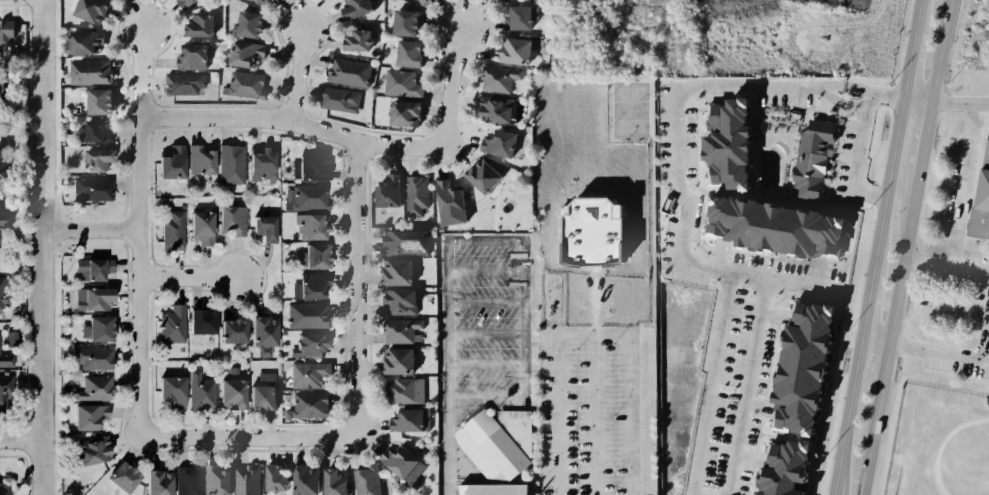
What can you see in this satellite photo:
building: (416, 0)
building: (493, 0)
building: (260, 2)
building: (424, 2)
building: (183, 4)
building: (350, 8)
building: (88, 9)
building: (513, 15)
road: (915, 18)
building: (401, 21)
building: (196, 24)
building: (245, 25)
building: (10, 33)
building: (79, 38)
building: (354, 39)
building: (510, 49)
building: (243, 52)
building: (405, 52)
building: (190, 53)
building: (15, 56)
road: (906, 66)
building: (87, 72)
building: (349, 72)
road: (297, 76)
building: (497, 79)
building: (399, 83)
building: (183, 85)
building: (242, 85)
road: (848, 86)
road: (829, 89)
road: (861, 91)
road: (450, 92)
road: (883, 96)
building: (337, 99)
road: (915, 100)
building: (94, 102)
road: (852, 102)
road: (959, 102)
building: (493, 110)
building: (401, 113)
road: (291, 121)
building: (95, 129)
building: (498, 141)
building: (2, 160)
building: (94, 160)
road: (853, 160)
building: (198, 161)
building: (229, 165)
building: (256, 166)
building: (308, 166)
building: (169, 168)
building: (480, 175)
building: (721, 179)
road: (886, 182)
road: (958, 183)
building: (92, 189)
building: (387, 191)
building: (979, 194)
building: (415, 195)
building: (305, 198)
building: (447, 202)
building: (508, 203)
building: (6, 219)
building: (230, 220)
building: (309, 227)
building: (197, 228)
building: (263, 229)
road: (92, 231)
building: (172, 231)
road: (140, 232)
building: (593, 233)
building: (402, 242)
road: (44, 247)
road: (905, 247)
road: (681, 248)
building: (314, 256)
road: (946, 265)
building: (91, 269)
building: (393, 271)
road: (192, 281)
building: (311, 286)
road: (358, 288)
building: (3, 295)
building: (87, 299)
building: (397, 300)
road: (866, 303)
building: (305, 316)
road: (524, 316)
building: (200, 322)
building: (171, 324)
road: (447, 324)
building: (95, 328)
building: (400, 330)
building: (231, 332)
road: (592, 333)
building: (263, 334)
building: (11, 339)
building: (307, 347)
road: (933, 351)
building: (90, 357)
building: (394, 361)
building: (6, 363)
building: (792, 365)
building: (263, 375)
building: (309, 375)
building: (91, 389)
building: (402, 390)
building: (5, 391)
building: (198, 391)
building: (170, 392)
building: (228, 394)
building: (259, 397)
building: (985, 400)
building: (306, 405)
parking lot: (587, 412)
building: (83, 417)
road: (846, 417)
building: (409, 420)
road: (11, 432)
road: (252, 434)
road: (22, 438)
building: (497, 442)
road: (447, 449)
building: (86, 451)
building: (403, 463)
road: (26, 466)
building: (775, 468)
building: (120, 476)
building: (300, 478)
building: (215, 480)
building: (273, 480)
building: (328, 480)
building: (365, 480)
building: (185, 481)
building: (247, 481)
building: (154, 483)
building: (4, 487)
building: (493, 489)

